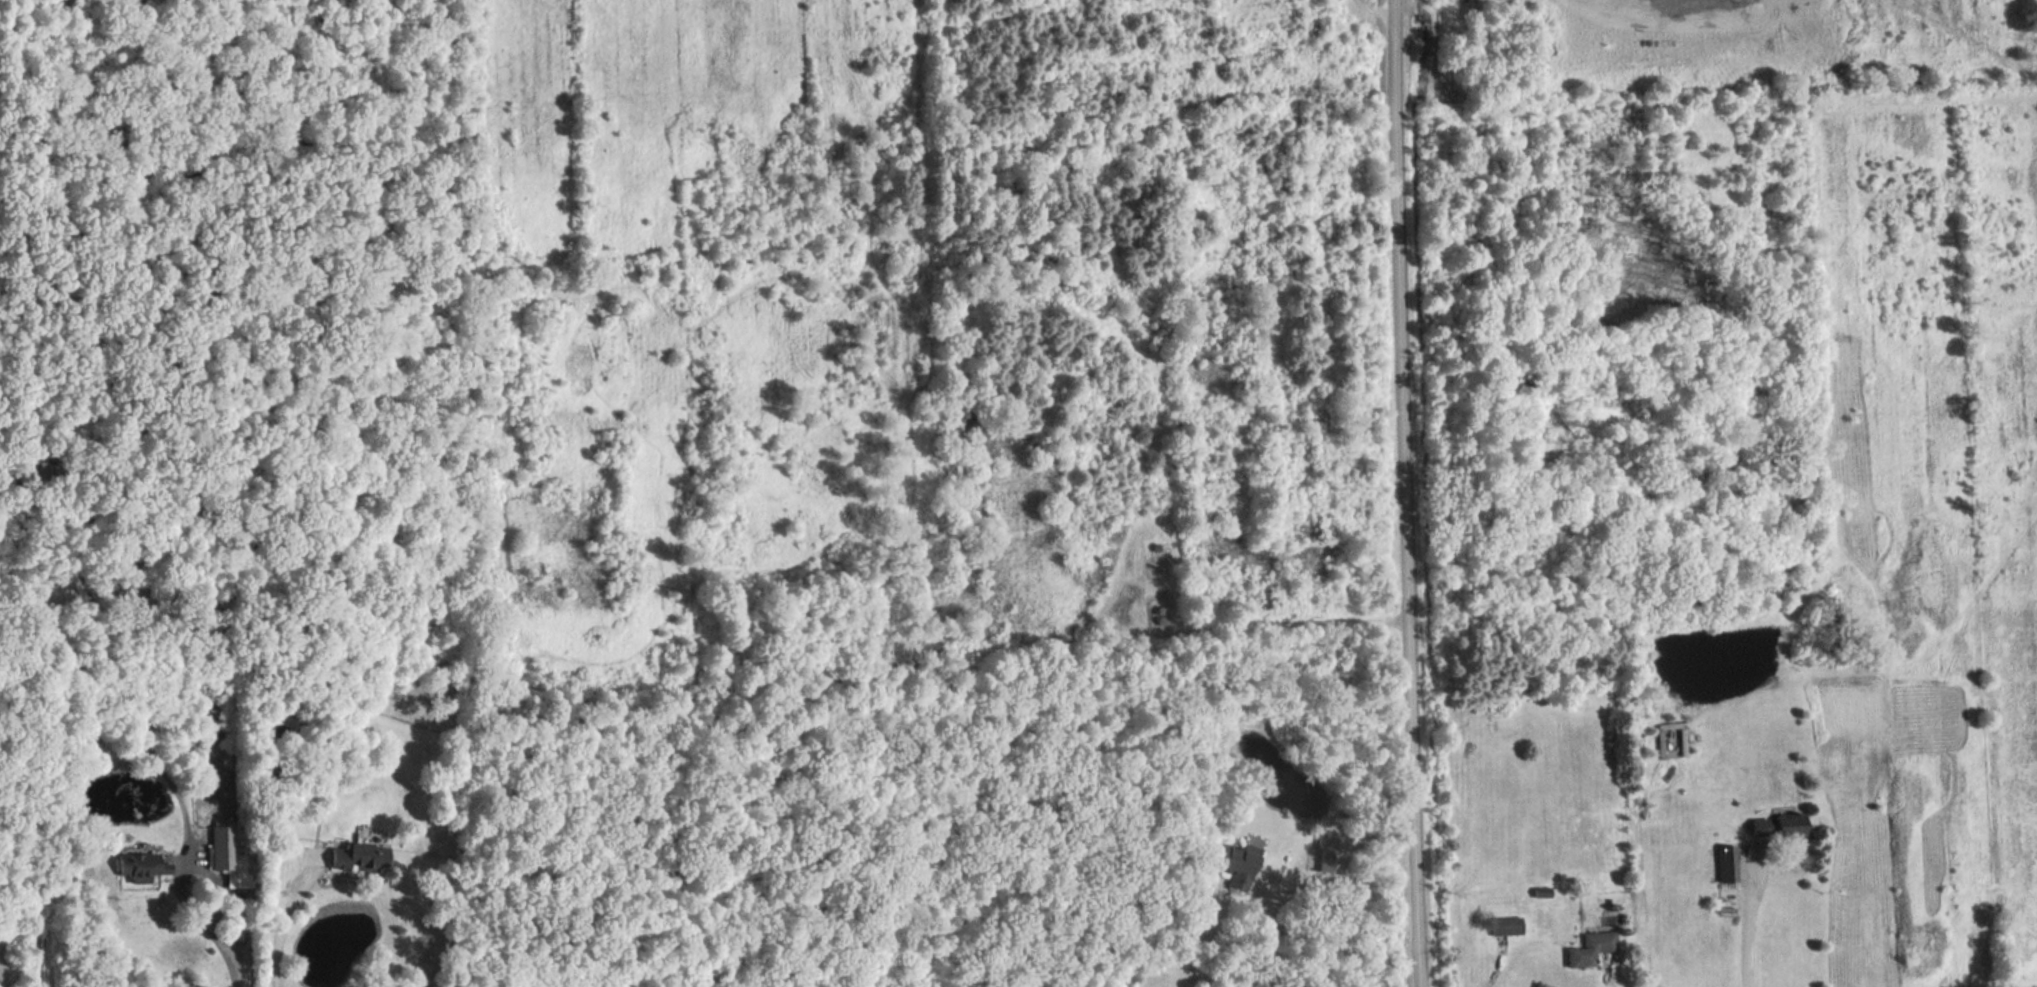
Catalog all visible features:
road: (1402, 493)
building: (279, 735)
road: (1882, 804)
building: (222, 848)
building: (359, 858)
building: (1236, 864)
road: (187, 866)
building: (141, 868)
road: (283, 920)
road: (1746, 925)
building: (1505, 927)
road: (1269, 932)
building: (1590, 950)
road: (224, 956)
road: (1489, 968)

